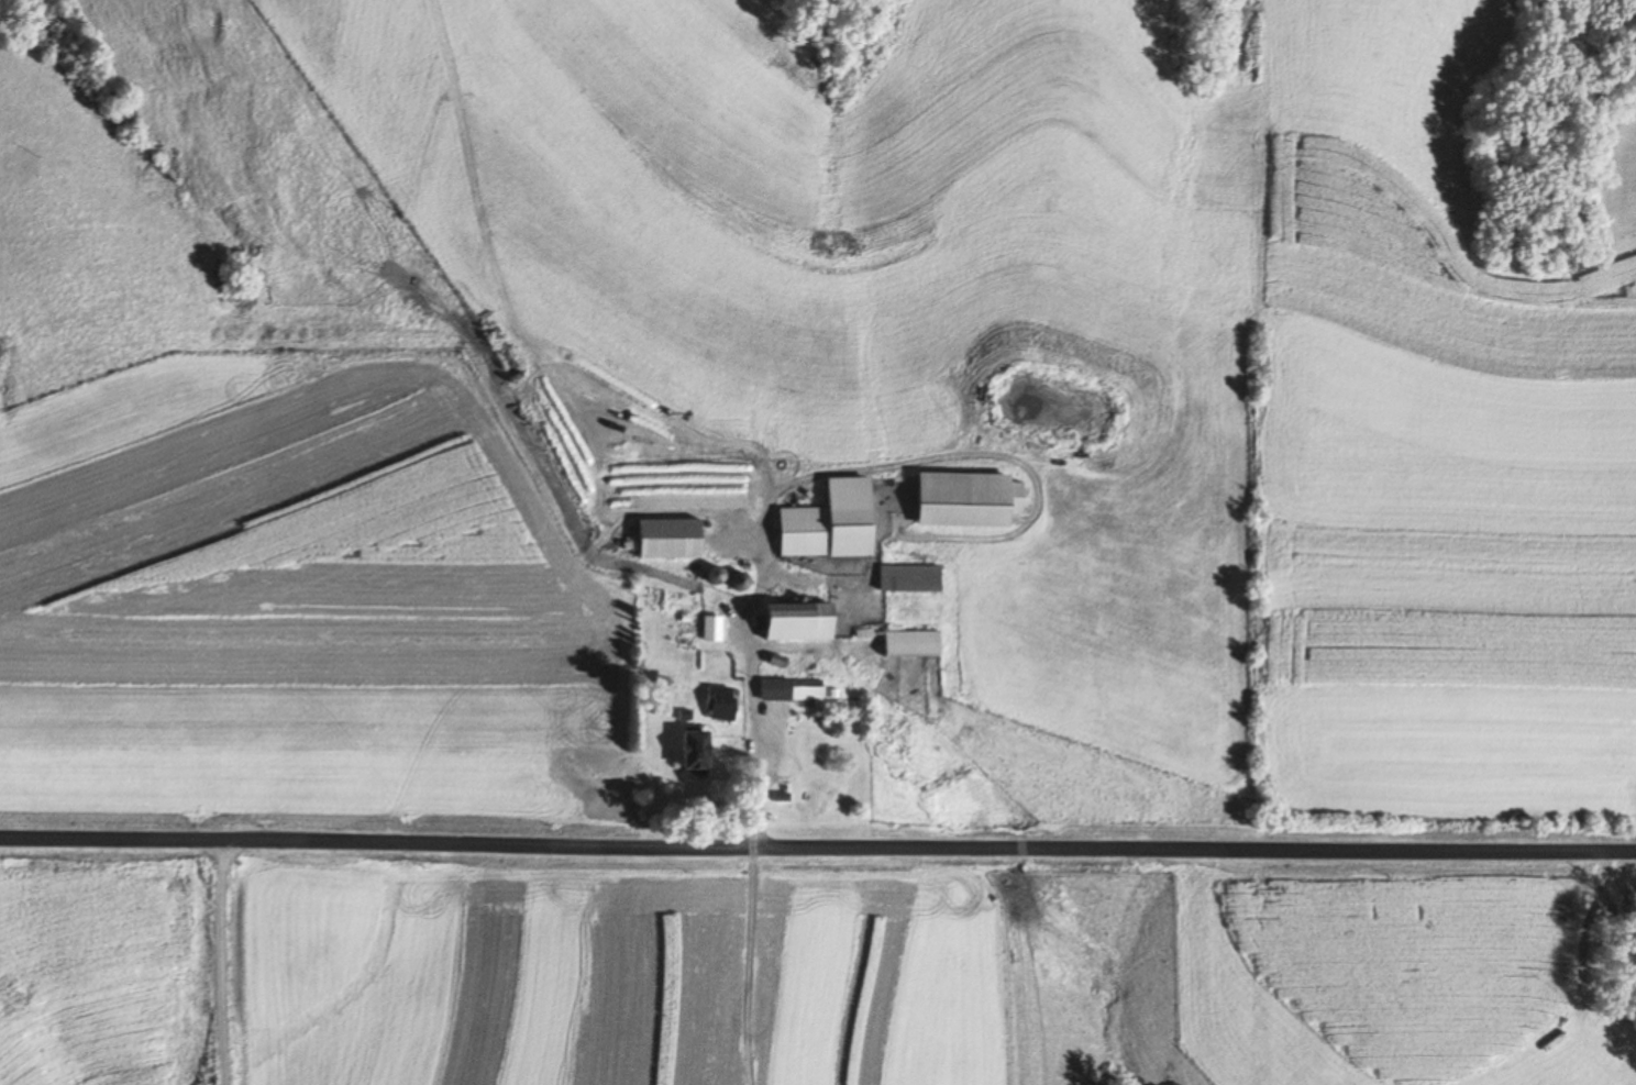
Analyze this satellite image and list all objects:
building: (970, 499)
building: (833, 522)
building: (672, 539)
building: (911, 577)
building: (804, 621)
building: (915, 642)
building: (793, 689)
building: (721, 702)
building: (699, 752)
building: (783, 797)
road: (817, 843)
road: (221, 962)

